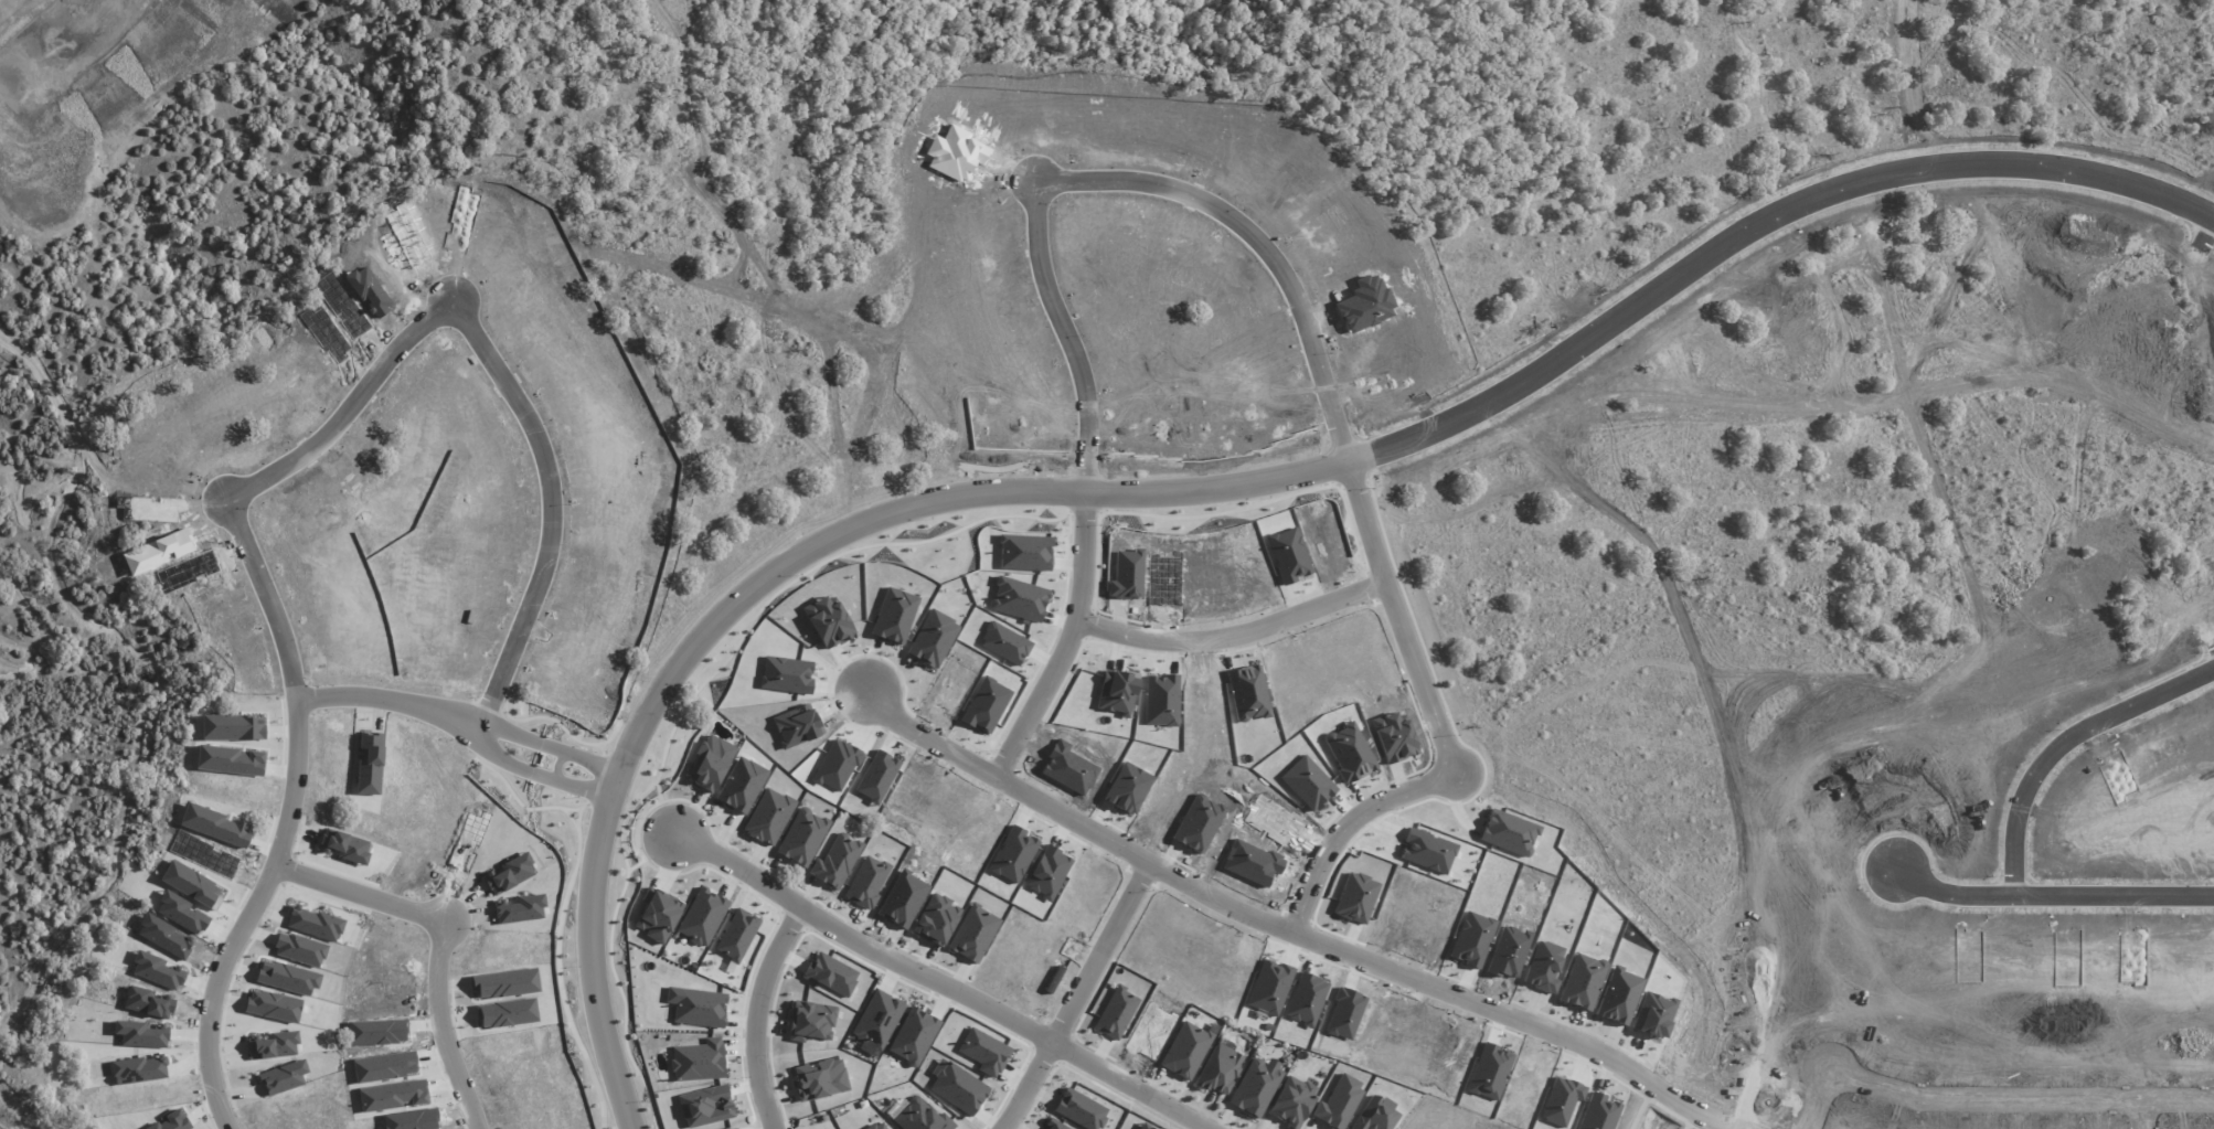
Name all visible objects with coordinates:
road: (1592, 8)
road: (1721, 110)
road: (1114, 167)
road: (1493, 175)
road: (2156, 320)
road: (350, 404)
road: (2094, 423)
road: (1217, 486)
road: (553, 501)
road: (1084, 556)
road: (1399, 613)
road: (1236, 635)
road: (394, 693)
road: (1041, 695)
road: (2065, 731)
road: (553, 738)
building: (710, 761)
road: (542, 765)
road: (1010, 774)
road: (287, 812)
road: (1351, 821)
building: (802, 837)
building: (837, 861)
building: (867, 882)
road: (2058, 882)
road: (1126, 903)
building: (658, 915)
building: (703, 916)
building: (936, 919)
building: (315, 923)
road: (443, 933)
building: (973, 934)
building: (737, 935)
road: (940, 982)
road: (1456, 987)
building: (700, 1008)
building: (1116, 1012)
road: (751, 1013)
building: (877, 1019)
building: (810, 1021)
building: (913, 1036)
road: (1054, 1040)
building: (1185, 1050)
building: (984, 1052)
building: (699, 1061)
building: (1220, 1067)
building: (284, 1077)
building: (820, 1079)
road: (1983, 1084)
building: (1255, 1086)
building: (959, 1088)
building: (1291, 1101)
building: (1339, 1101)
building: (706, 1106)
road: (2150, 1106)
building: (1079, 1109)
building: (1376, 1115)
building: (922, 1117)
building: (877, 1126)
building: (1146, 1127)
building: (738, 1128)

